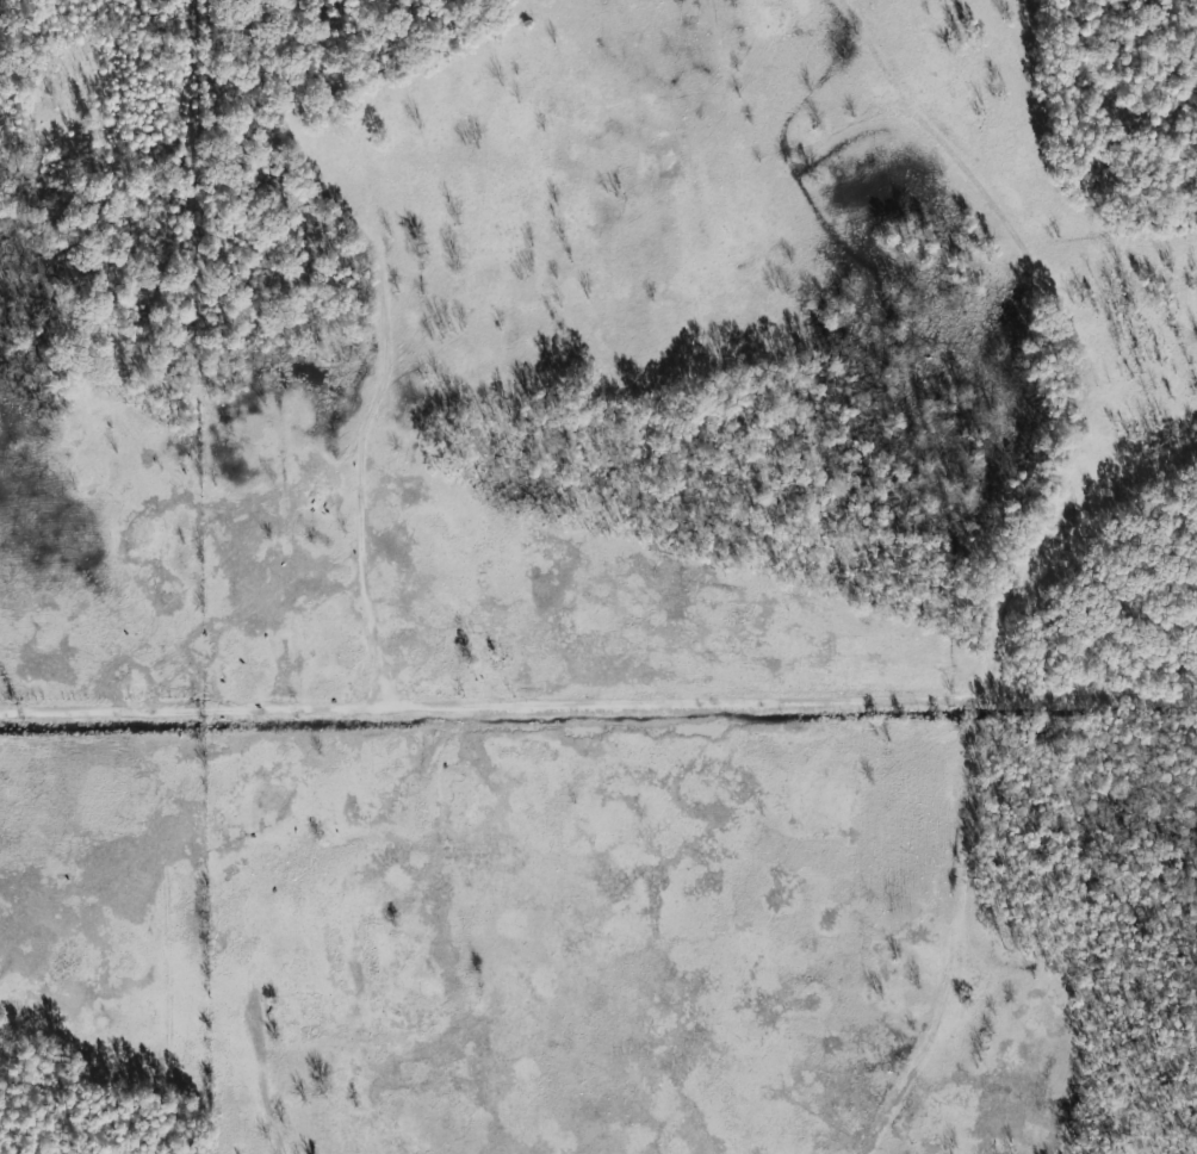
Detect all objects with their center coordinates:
road: (392, 339)
road: (598, 696)

